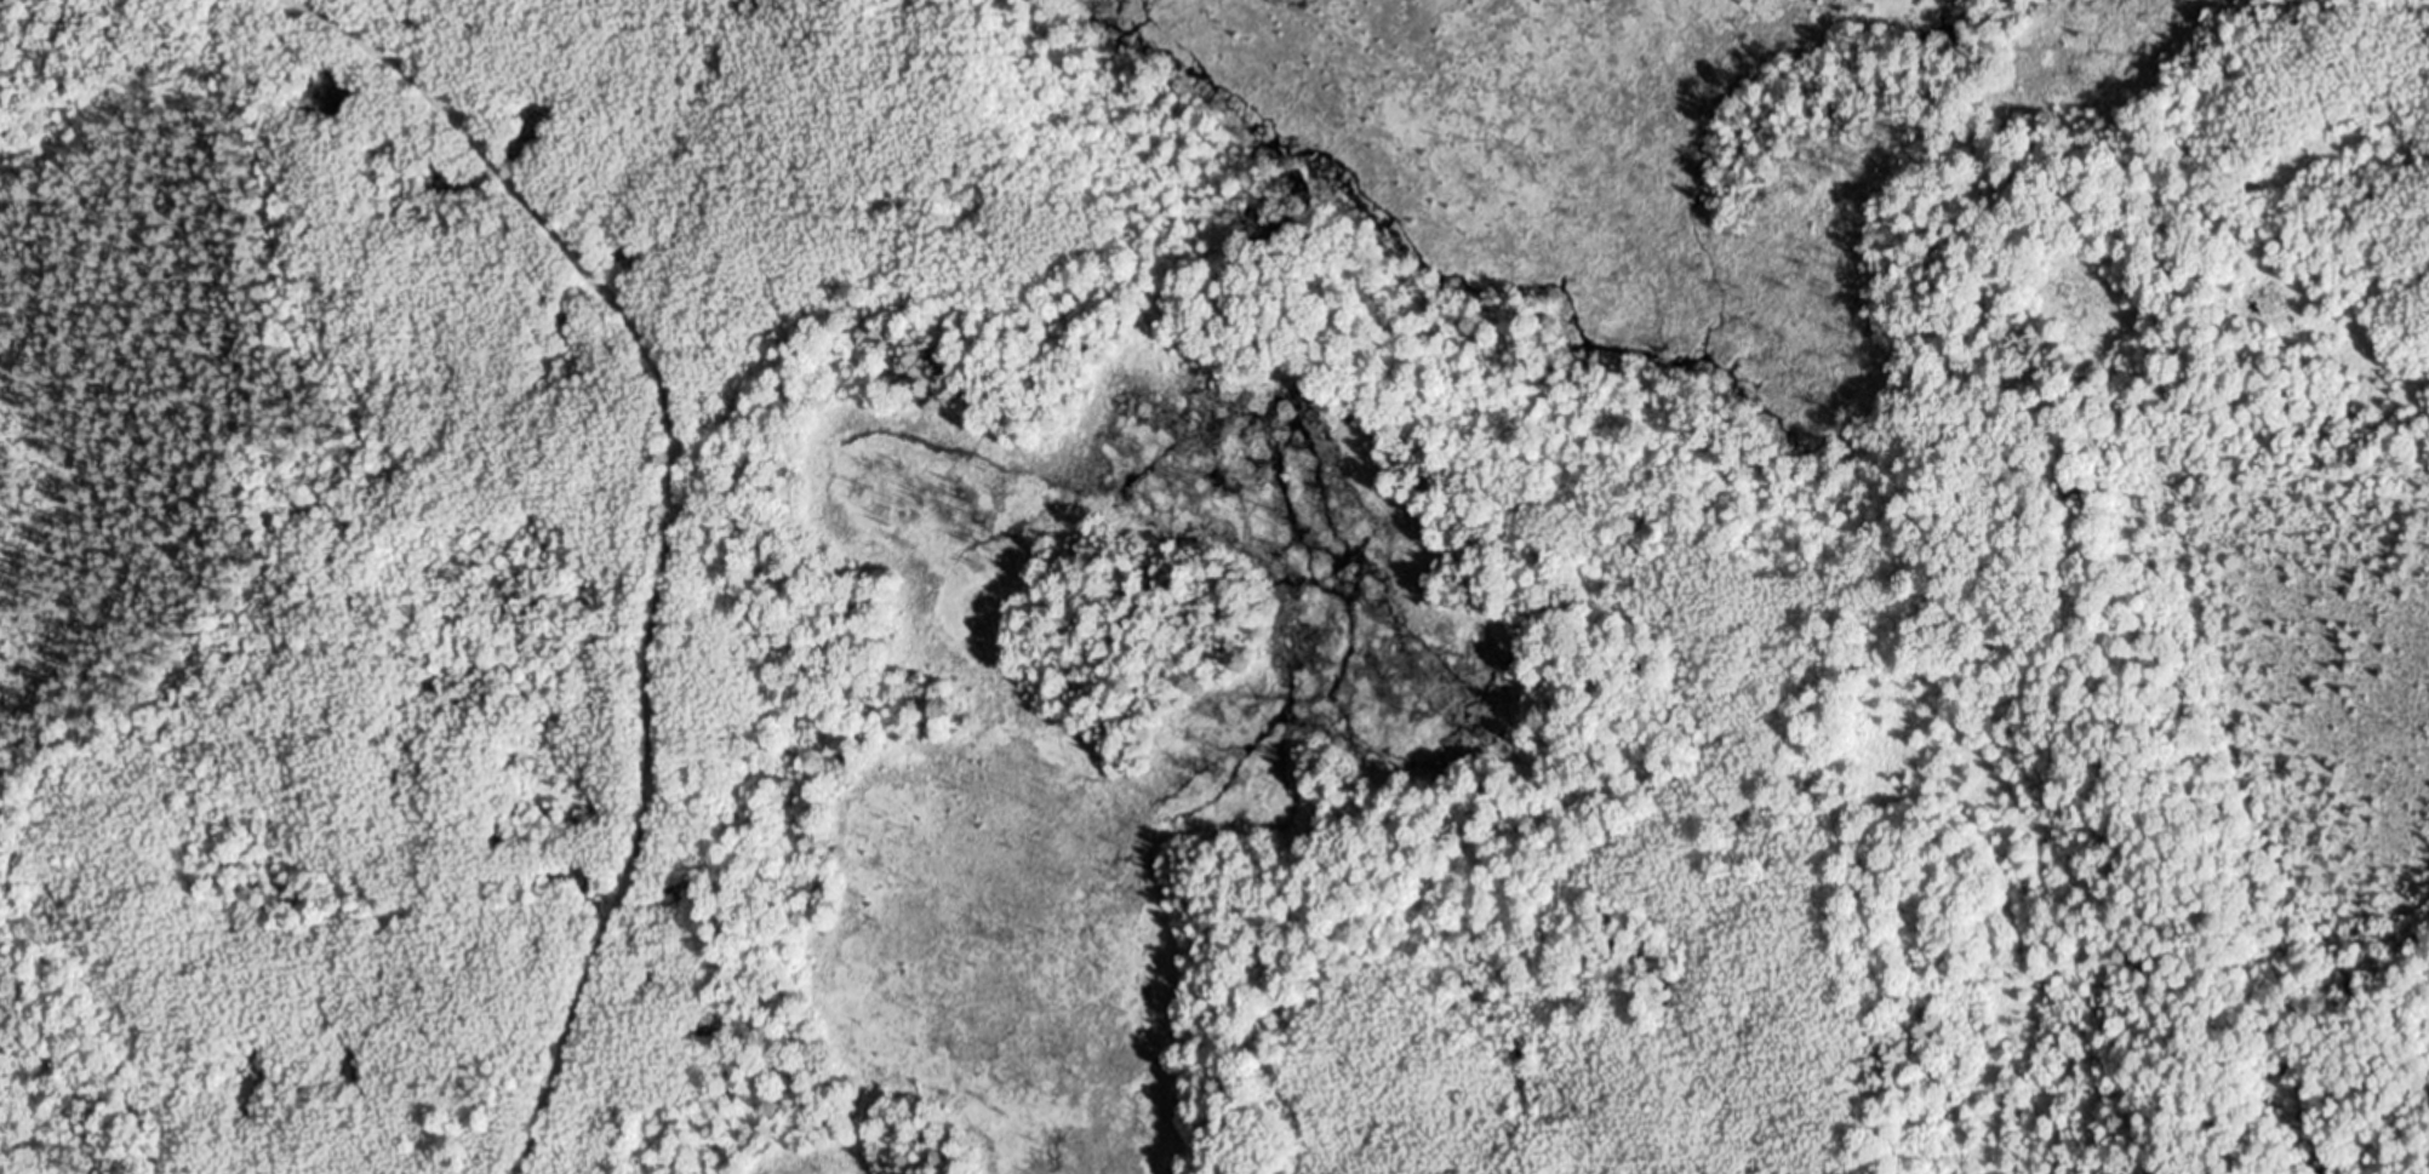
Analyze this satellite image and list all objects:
road: (604, 534)

